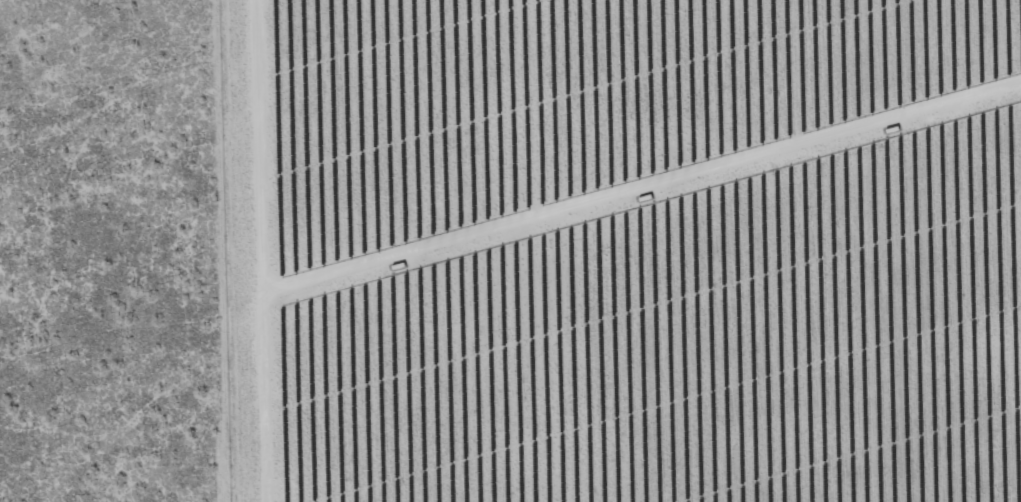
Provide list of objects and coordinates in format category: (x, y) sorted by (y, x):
solar farm: (623, 250)

